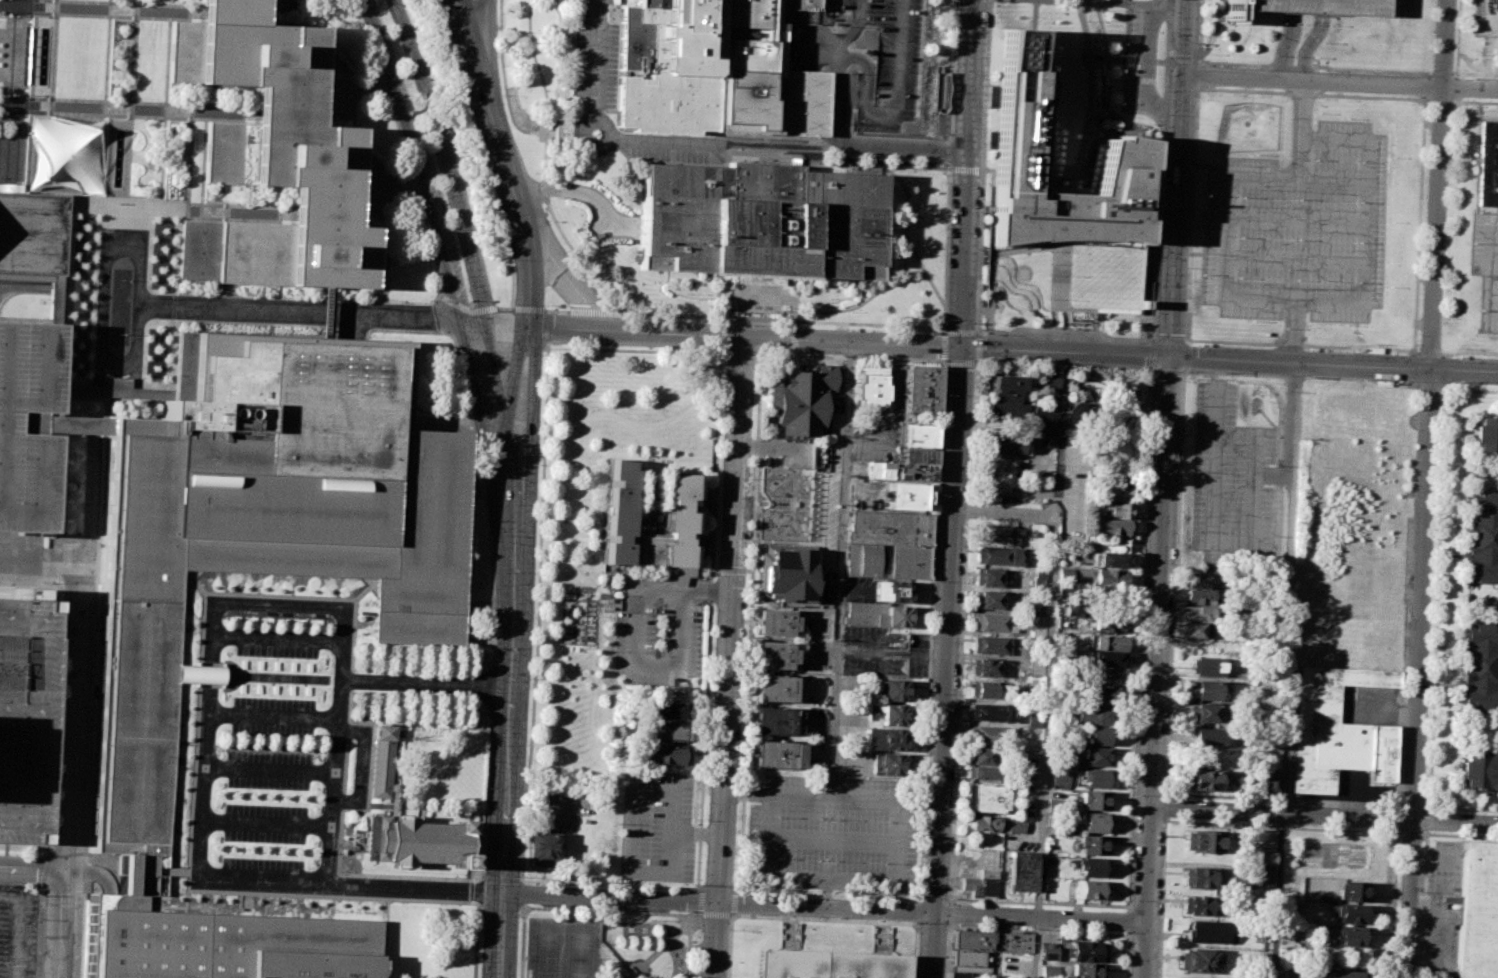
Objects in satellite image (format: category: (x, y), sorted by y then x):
street lamp: (379, 3)
road: (1098, 4)
building: (1493, 4)
road: (27, 6)
road: (80, 7)
road: (1293, 7)
building: (1310, 7)
parking lot: (1310, 7)
road: (1324, 8)
road: (168, 11)
building: (1497, 12)
road: (1036, 15)
road: (107, 17)
road: (200, 21)
road: (855, 26)
road: (1085, 29)
road: (10, 31)
road: (1127, 32)
road: (796, 43)
road: (1286, 46)
building: (1494, 46)
road: (1310, 47)
road: (469, 50)
road: (486, 50)
fountain: (41, 56)
building: (690, 60)
road: (1149, 62)
road: (1155, 62)
parking lot: (886, 65)
road: (536, 67)
road: (1356, 70)
road: (133, 77)
street lamp: (406, 77)
road: (9, 78)
road: (18, 79)
park: (533, 79)
road: (1110, 82)
road: (1341, 84)
road: (359, 88)
street lamp: (502, 95)
road: (837, 97)
road: (48, 101)
road: (23, 104)
street lamp: (466, 104)
road: (50, 105)
road: (164, 105)
road: (1099, 105)
road: (79, 106)
road: (508, 108)
road: (130, 109)
road: (894, 109)
road: (52, 113)
road: (218, 113)
road: (1093, 118)
road: (186, 120)
road: (255, 122)
road: (100, 128)
road: (1303, 130)
road: (712, 141)
road: (1353, 141)
road: (403, 146)
building: (1123, 151)
street lamp: (430, 152)
road: (130, 154)
building: (270, 154)
building: (66, 155)
road: (29, 156)
fountain: (115, 158)
road: (189, 159)
road: (414, 159)
road: (444, 160)
building: (1487, 164)
road: (949, 165)
road: (958, 168)
road: (504, 170)
street lamp: (534, 173)
road: (967, 174)
road: (1072, 176)
road: (1180, 180)
road: (393, 187)
road: (580, 190)
road: (991, 200)
road: (69, 210)
road: (191, 211)
road: (97, 212)
road: (251, 213)
road: (152, 215)
street lamp: (549, 220)
road: (1298, 220)
building: (762, 221)
road: (291, 223)
street lamp: (451, 228)
parking lot: (1300, 229)
building: (31, 234)
road: (1230, 237)
road: (1364, 238)
road: (575, 253)
street lamp: (573, 259)
road: (1159, 259)
road: (1296, 261)
parking lot: (1484, 266)
road: (1492, 272)
road: (1486, 275)
flagpole: (121, 281)
road: (528, 282)
road: (568, 285)
road: (1061, 285)
road: (0, 296)
street lamp: (469, 300)
road: (102, 302)
street lamp: (544, 305)
road: (174, 307)
road: (460, 307)
road: (505, 309)
road: (535, 309)
road: (556, 310)
road: (597, 312)
road: (300, 313)
road: (327, 313)
road: (442, 314)
road: (671, 315)
street lamp: (650, 318)
road: (756, 319)
road: (473, 322)
road: (239, 324)
road: (865, 324)
road: (570, 328)
road: (1156, 329)
road: (956, 331)
flagpole: (119, 333)
road: (722, 333)
road: (981, 333)
road: (1296, 333)
road: (790, 338)
road: (786, 339)
road: (1169, 339)
road: (1148, 342)
road: (940, 347)
road: (974, 347)
street lamp: (455, 352)
road: (1066, 354)
road: (1151, 354)
street lamp: (542, 355)
road: (1184, 356)
road: (956, 363)
road: (494, 365)
road: (513, 366)
road: (1334, 369)
road: (1166, 370)
road: (171, 371)
road: (475, 381)
road: (112, 383)
building: (1049, 384)
road: (105, 386)
building: (870, 388)
building: (920, 388)
road: (530, 396)
building: (799, 399)
building: (1039, 412)
building: (27, 425)
road: (497, 425)
road: (82, 426)
building: (914, 435)
road: (1254, 435)
building: (1486, 435)
building: (1003, 442)
road: (770, 451)
building: (914, 455)
street lamp: (480, 463)
road: (59, 465)
street lamp: (538, 465)
building: (900, 471)
road: (513, 475)
parking lot: (1231, 480)
building: (796, 483)
road: (534, 484)
road: (1427, 489)
road: (92, 494)
building: (906, 496)
building: (615, 499)
building: (786, 506)
building: (1119, 510)
park: (566, 514)
road: (506, 520)
building: (786, 526)
building: (1111, 526)
building: (265, 531)
road: (524, 532)
building: (997, 532)
building: (1481, 538)
road: (1211, 542)
building: (888, 544)
road: (963, 544)
building: (998, 554)
road: (59, 559)
building: (1110, 560)
road: (41, 562)
road: (839, 569)
street lamp: (490, 572)
street lamp: (532, 574)
building: (1065, 574)
building: (790, 576)
building: (989, 576)
building: (1109, 576)
building: (1039, 577)
building: (1193, 580)
road: (29, 586)
building: (892, 591)
building: (1192, 595)
building: (990, 599)
building: (1073, 609)
road: (208, 614)
building: (876, 614)
building: (1192, 614)
road: (706, 620)
building: (773, 622)
building: (995, 622)
street lamp: (229, 624)
building: (1105, 624)
building: (1038, 627)
street lamp: (311, 628)
building: (1190, 630)
road: (271, 638)
parking lot: (656, 639)
building: (1057, 639)
road: (633, 641)
building: (1109, 642)
building: (991, 644)
building: (773, 655)
parking lot: (915, 655)
road: (727, 657)
street lamp: (490, 659)
building: (1037, 659)
building: (1106, 659)
road: (945, 663)
building: (987, 666)
building: (1202, 666)
building: (1477, 666)
road: (1155, 669)
street lamp: (348, 672)
street lamp: (364, 672)
road: (1285, 672)
street lamp: (381, 673)
road: (201, 674)
street lamp: (397, 674)
street lamp: (414, 674)
street lamp: (430, 675)
building: (1105, 675)
street lamp: (447, 676)
road: (215, 687)
building: (987, 688)
building: (773, 689)
building: (894, 689)
street lamp: (355, 690)
street lamp: (372, 690)
street lamp: (388, 691)
building: (1202, 691)
street lamp: (405, 692)
street lamp: (421, 693)
street lamp: (437, 694)
building: (1102, 694)
road: (1046, 697)
building: (663, 710)
road: (486, 711)
building: (989, 712)
road: (51, 714)
building: (893, 714)
building: (1093, 714)
building: (1200, 714)
road: (269, 716)
building: (772, 721)
building: (28, 722)
parking lot: (28, 722)
road: (1135, 727)
building: (1337, 729)
building: (662, 732)
building: (991, 734)
building: (1096, 734)
building: (1209, 737)
building: (884, 738)
street lamp: (738, 740)
street lamp: (224, 743)
parking lot: (267, 743)
street lamp: (307, 746)
road: (1165, 750)
building: (663, 753)
building: (776, 754)
building: (980, 756)
building: (1095, 756)
building: (376, 763)
building: (892, 763)
road: (357, 766)
road: (73, 770)
road: (266, 771)
building: (1479, 771)
building: (984, 773)
building: (1095, 778)
building: (1058, 779)
building: (1202, 779)
building: (1269, 780)
road: (329, 782)
road: (510, 788)
street lamp: (487, 789)
road: (643, 789)
road: (1148, 792)
road: (830, 795)
building: (985, 798)
building: (1093, 799)
building: (1054, 802)
building: (1025, 808)
road: (1164, 809)
road: (187, 810)
road: (1324, 817)
building: (984, 822)
building: (1094, 822)
road: (264, 823)
building: (1015, 826)
parking lot: (656, 828)
parking lot: (832, 832)
road: (829, 840)
building: (418, 841)
building: (1202, 841)
building: (1091, 844)
road: (23, 848)
building: (544, 848)
street lamp: (220, 850)
street lamp: (302, 853)
street lamp: (37, 855)
road: (337, 855)
building: (1266, 858)
street lamp: (484, 864)
street lamp: (732, 865)
road: (1203, 866)
road: (45, 867)
building: (1093, 867)
road: (34, 868)
road: (667, 868)
building: (1021, 871)
road: (95, 873)
road: (131, 875)
building: (1264, 876)
road: (828, 877)
building: (1200, 878)
road: (500, 879)
road: (607, 883)
building: (980, 883)
road: (414, 888)
building: (1086, 889)
road: (478, 891)
building: (1351, 891)
road: (823, 892)
road: (522, 895)
road: (695, 902)
street lamp: (534, 905)
building: (1197, 905)
road: (1128, 906)
road: (826, 908)
road: (501, 909)
road: (601, 911)
street lamp: (673, 911)
building: (1476, 911)
road: (948, 913)
street lamp: (753, 914)
building: (1350, 914)
road: (653, 924)
street lamp: (727, 930)
road: (38, 931)
building: (1208, 931)
parking lot: (18, 932)
building: (1350, 936)
road: (658, 937)
road: (475, 939)
park: (607, 939)
building: (972, 939)
building: (1013, 941)
building: (225, 944)
road: (663, 945)
park: (563, 949)
road: (946, 950)
building: (1086, 950)
building: (1049, 951)
building: (1198, 960)
building: (971, 961)
building: (828, 963)
building: (1086, 969)
building: (1050, 971)
building: (1293, 973)
road: (638, 974)
building: (1343, 974)
building: (958, 975)
building: (1189, 977)

